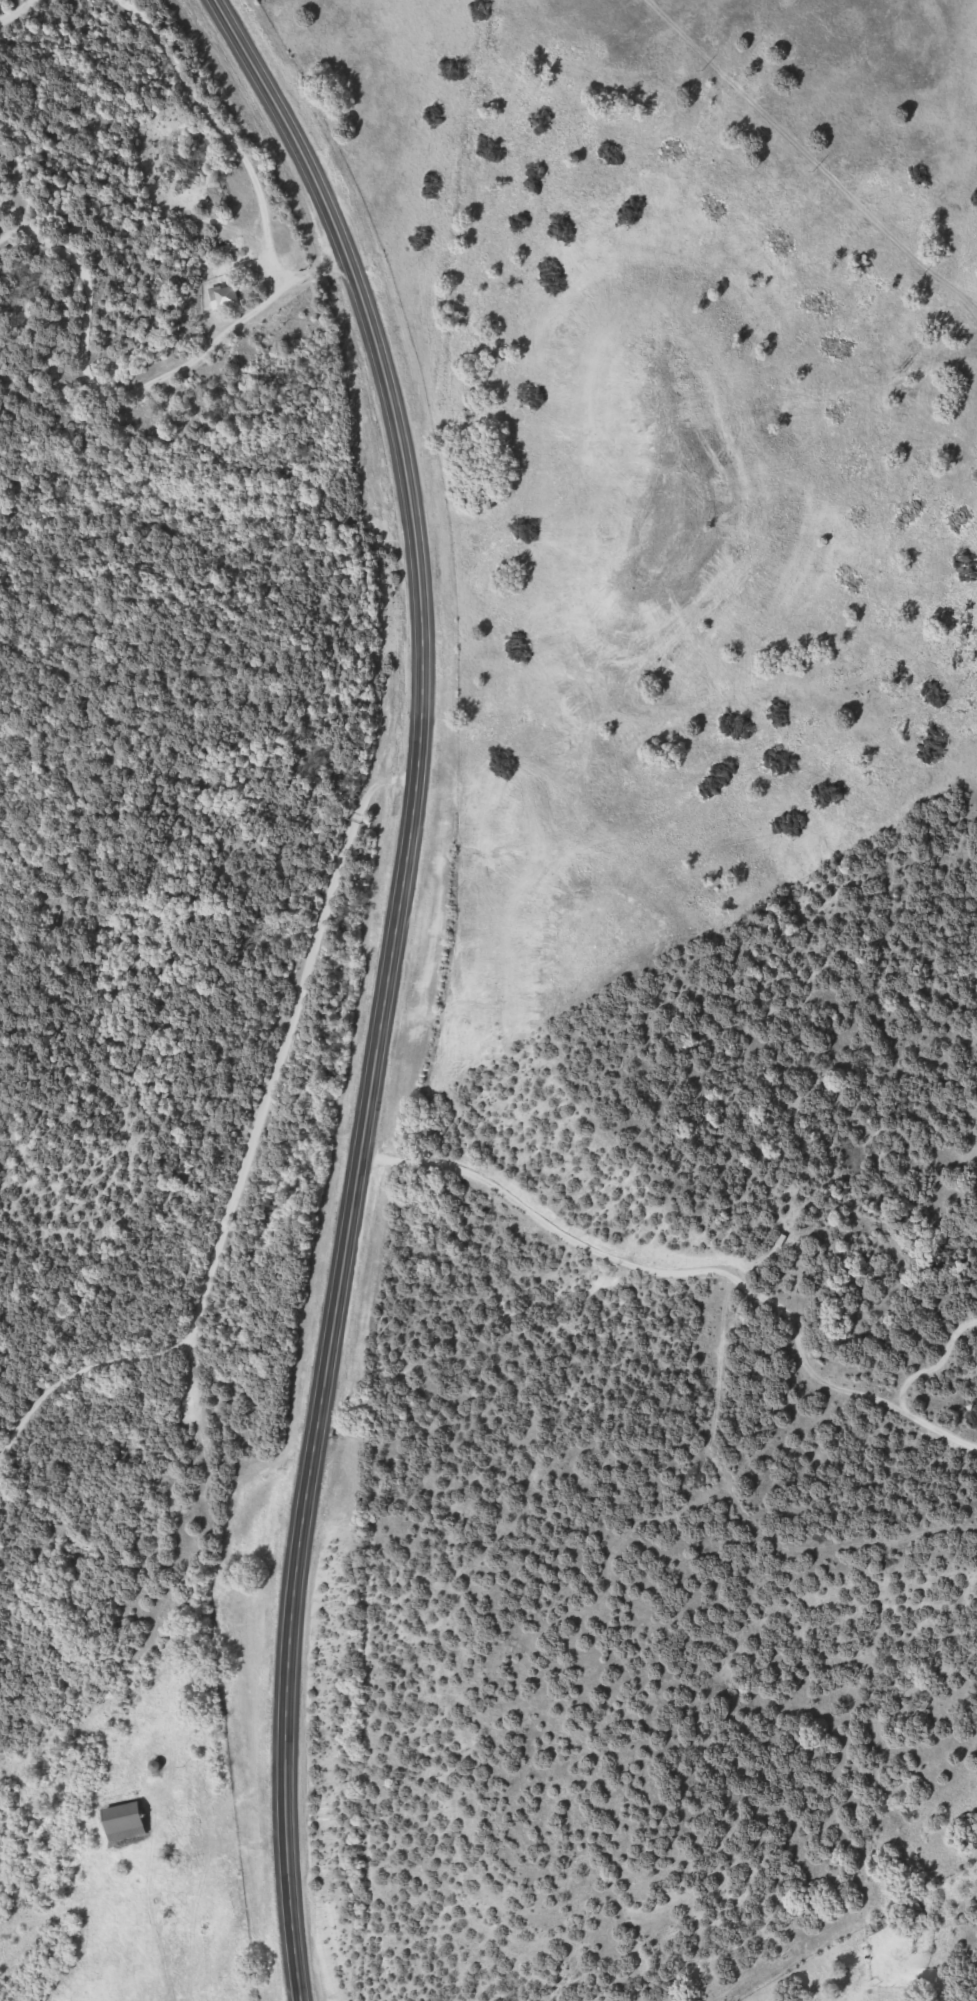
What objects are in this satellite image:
building: (220, 295)
road: (218, 662)
road: (388, 981)
road: (149, 1389)
building: (119, 1821)
road: (112, 1909)

